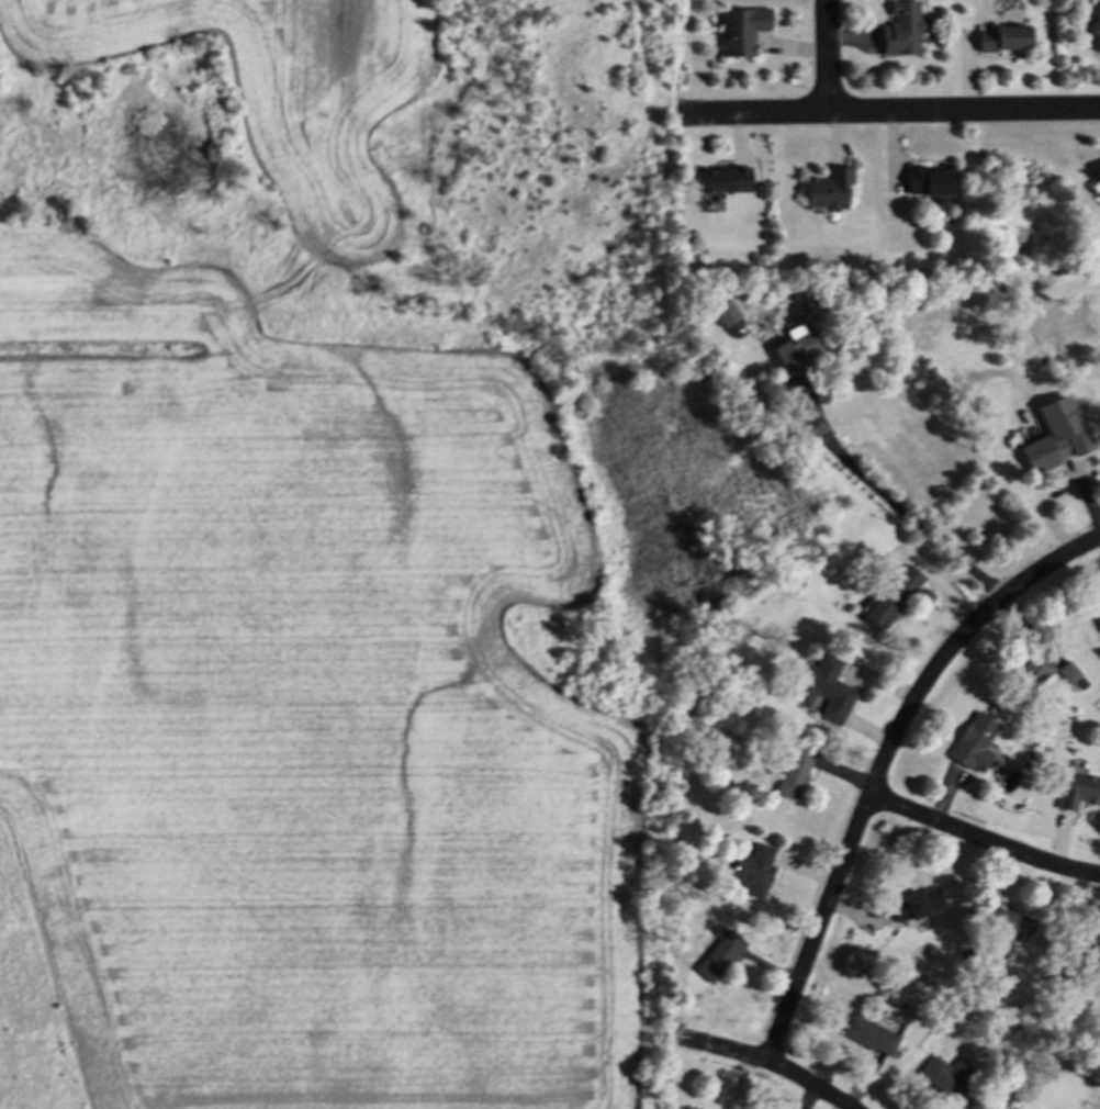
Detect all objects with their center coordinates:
building: (1096, 24)
building: (740, 29)
building: (900, 29)
building: (1003, 37)
road: (828, 56)
crop: (277, 88)
road: (887, 112)
building: (1098, 176)
building: (723, 179)
building: (930, 181)
building: (827, 188)
road: (1026, 311)
building: (723, 313)
building: (797, 347)
building: (1056, 434)
road: (1047, 503)
road: (1089, 503)
road: (900, 507)
building: (893, 595)
building: (1097, 615)
building: (1044, 671)
building: (822, 687)
crop: (302, 707)
building: (973, 741)
road: (883, 760)
building: (794, 771)
building: (1078, 788)
road: (983, 839)
building: (751, 870)
building: (916, 904)
building: (1010, 923)
building: (1090, 943)
building: (718, 954)
building: (868, 1033)
road: (771, 1061)
building: (949, 1078)
building: (687, 1108)

